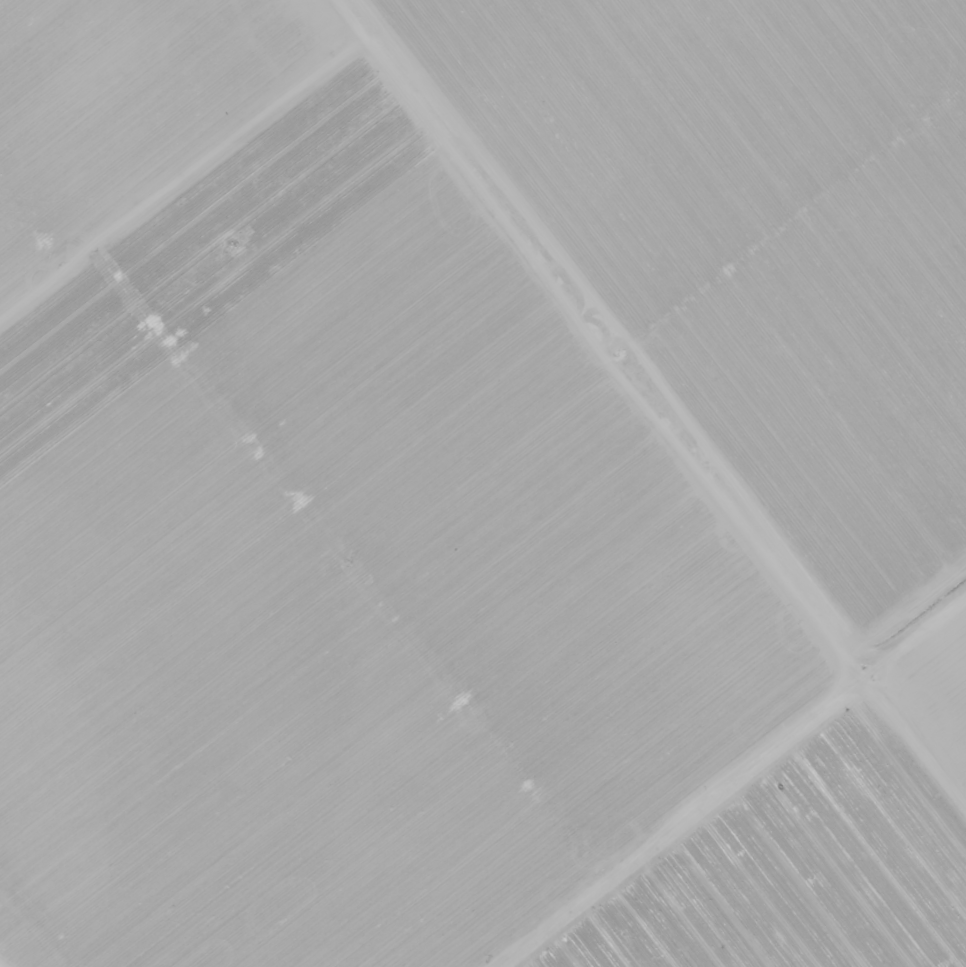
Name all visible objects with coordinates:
road: (730, 785)

